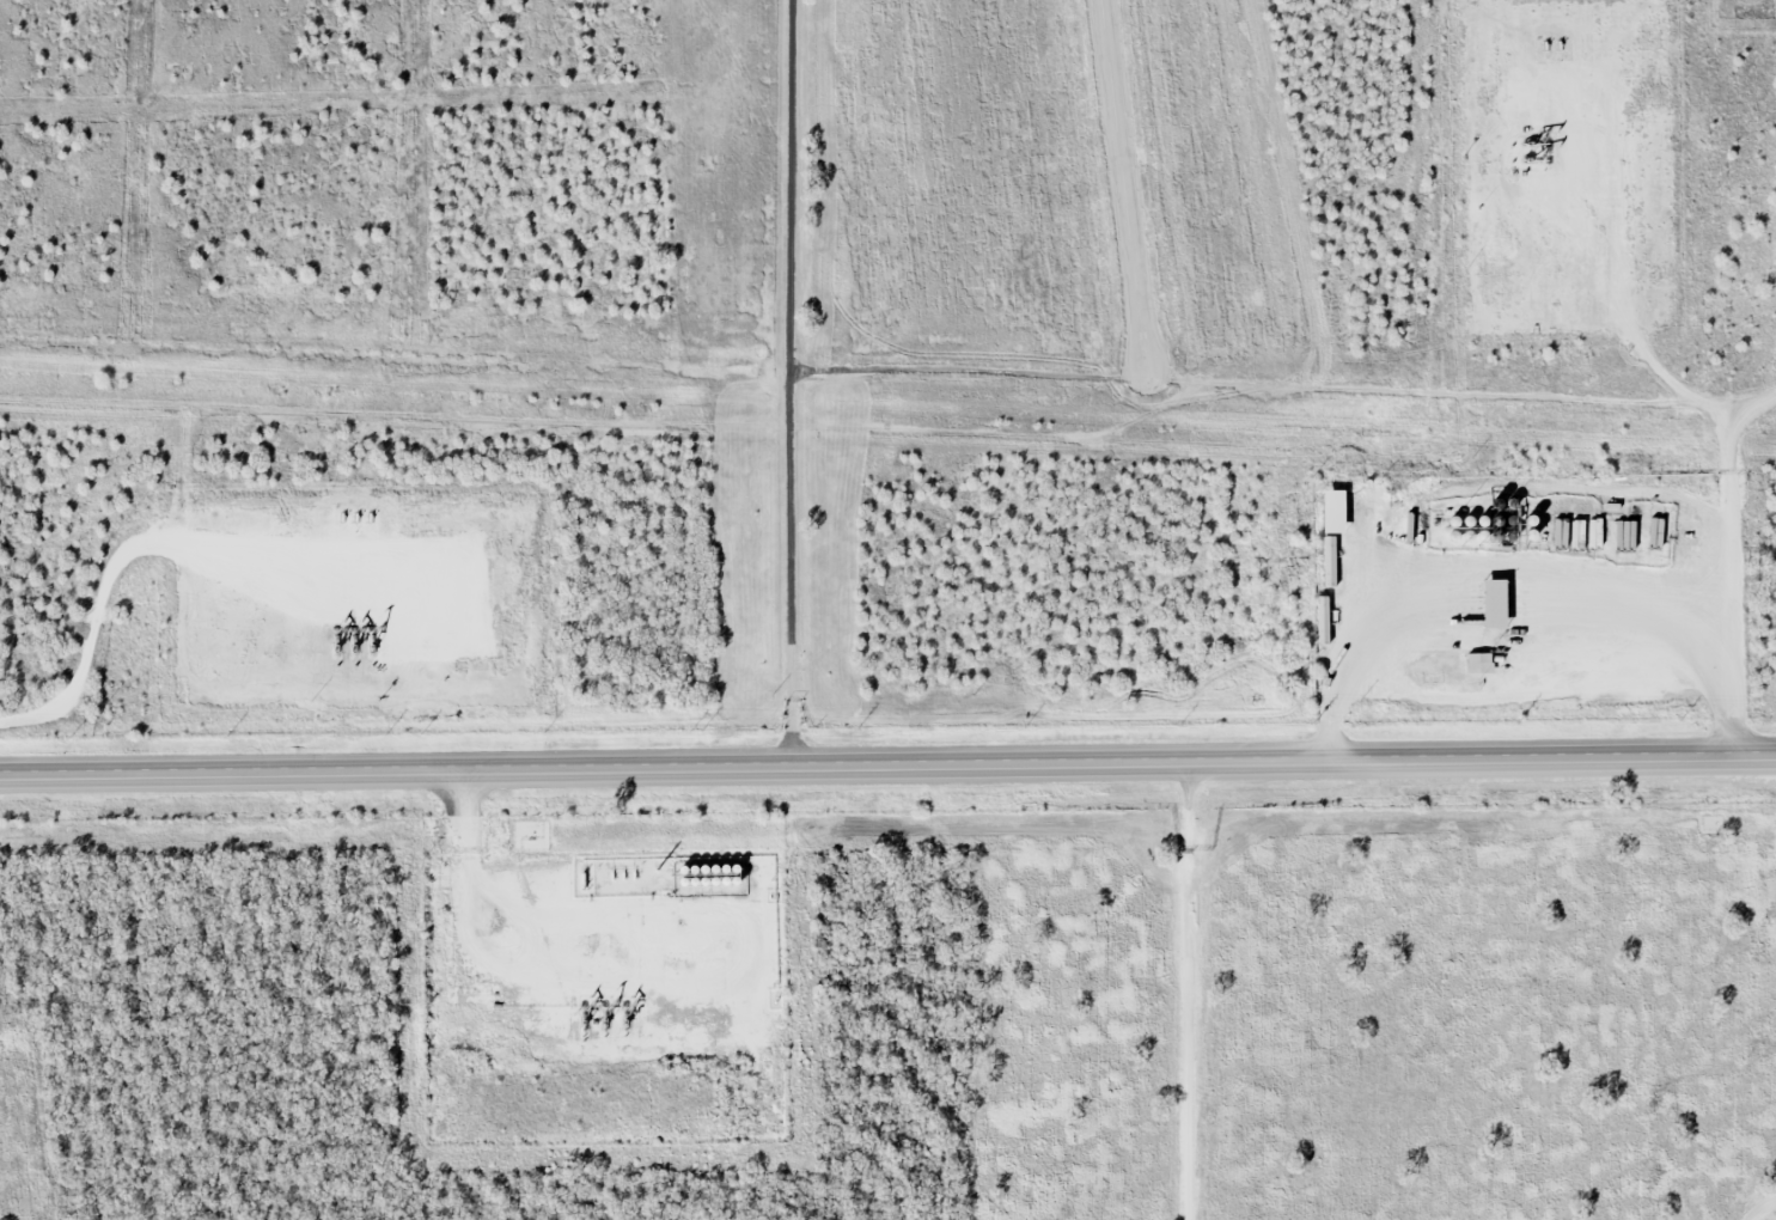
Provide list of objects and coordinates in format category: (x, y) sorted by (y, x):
airport runway: (1125, 185)
road: (789, 384)
building: (1335, 510)
building: (1329, 560)
road: (1738, 571)
building: (1497, 603)
building: (1323, 620)
petroleum well: (358, 640)
building: (1478, 661)
road: (887, 770)
petroleum well: (498, 993)
road: (1190, 995)

